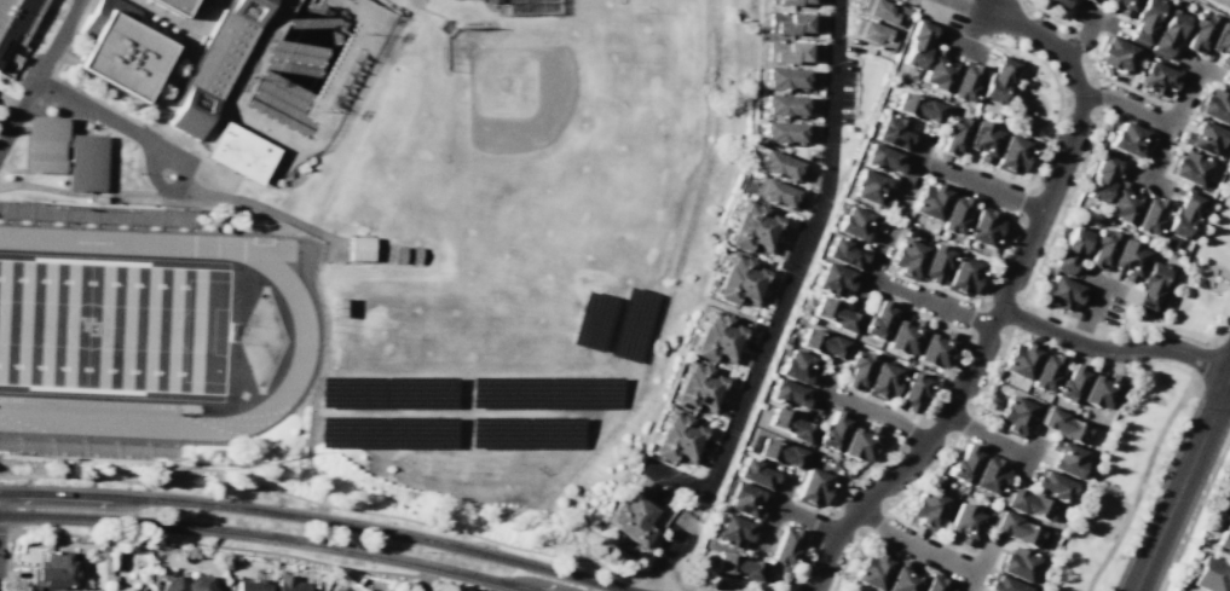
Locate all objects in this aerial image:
building: (204, 0)
building: (1092, 1)
road: (1224, 1)
building: (790, 2)
building: (1056, 2)
building: (179, 5)
road: (980, 5)
building: (1122, 7)
building: (883, 11)
road: (1095, 18)
building: (91, 19)
building: (1143, 22)
building: (787, 23)
road: (970, 28)
building: (15, 31)
building: (1166, 33)
building: (1197, 33)
building: (873, 35)
road: (1081, 39)
building: (1220, 42)
building: (917, 44)
road: (962, 46)
building: (786, 51)
building: (1114, 53)
building: (123, 56)
building: (215, 64)
road: (1199, 65)
building: (937, 71)
road: (39, 75)
building: (784, 79)
building: (997, 79)
building: (1155, 79)
building: (964, 81)
road: (1034, 81)
building: (1229, 87)
park: (1034, 98)
road: (6, 105)
building: (783, 105)
road: (1128, 105)
building: (917, 106)
building: (1213, 106)
road: (1012, 118)
road: (109, 120)
road: (146, 121)
road: (1173, 123)
road: (1047, 124)
building: (891, 131)
building: (781, 132)
building: (953, 134)
building: (1202, 137)
building: (1128, 139)
building: (982, 140)
building: (241, 152)
building: (65, 153)
building: (1011, 153)
park: (565, 155)
building: (880, 157)
road: (180, 162)
building: (776, 166)
building: (1186, 168)
building: (1098, 179)
road: (1147, 179)
road: (978, 184)
building: (868, 187)
road: (162, 189)
building: (773, 193)
building: (930, 199)
building: (1121, 203)
road: (265, 208)
building: (954, 214)
building: (1180, 214)
building: (1149, 215)
building: (854, 222)
building: (983, 226)
building: (753, 227)
road: (1050, 234)
building: (1167, 242)
building: (359, 248)
building: (1101, 248)
building: (1068, 249)
building: (842, 253)
building: (907, 257)
building: (1127, 259)
building: (934, 263)
road: (874, 265)
road: (1213, 270)
building: (962, 276)
building: (833, 279)
building: (738, 280)
park: (1197, 280)
road: (1226, 280)
road: (1009, 283)
road: (1105, 284)
building: (1148, 286)
building: (1062, 292)
road: (780, 305)
road: (975, 306)
road: (1018, 308)
road: (1087, 313)
building: (835, 314)
road: (1224, 317)
building: (877, 320)
park: (112, 326)
track: (305, 335)
building: (903, 336)
building: (716, 338)
building: (821, 343)
building: (934, 349)
road: (1111, 352)
building: (1020, 360)
building: (797, 365)
building: (856, 369)
building: (1045, 371)
building: (882, 381)
building: (1069, 383)
building: (695, 388)
building: (1098, 390)
road: (820, 392)
building: (911, 392)
building: (786, 393)
road: (876, 412)
building: (1014, 415)
building: (790, 424)
building: (1061, 424)
building: (832, 431)
road: (987, 435)
building: (676, 439)
building: (859, 442)
building: (775, 451)
road: (1028, 458)
building: (1064, 458)
road: (936, 463)
building: (964, 463)
building: (755, 474)
building: (988, 474)
road: (675, 476)
park: (1122, 482)
road: (1141, 483)
building: (1051, 485)
road: (1182, 485)
building: (812, 487)
building: (741, 499)
building: (1026, 503)
building: (926, 508)
road: (772, 514)
road: (1195, 514)
building: (633, 516)
road: (310, 518)
road: (408, 520)
road: (805, 520)
building: (964, 522)
building: (1017, 529)
building: (732, 531)
road: (267, 534)
building: (1224, 535)
building: (784, 545)
building: (103, 546)
road: (913, 546)
road: (246, 549)
road: (10, 561)
building: (1016, 563)
building: (738, 566)
road: (980, 566)
building: (871, 569)
building: (53, 570)
building: (1211, 573)
building: (901, 578)
building: (935, 583)
building: (187, 584)
building: (290, 584)
building: (1001, 584)
building: (250, 585)

